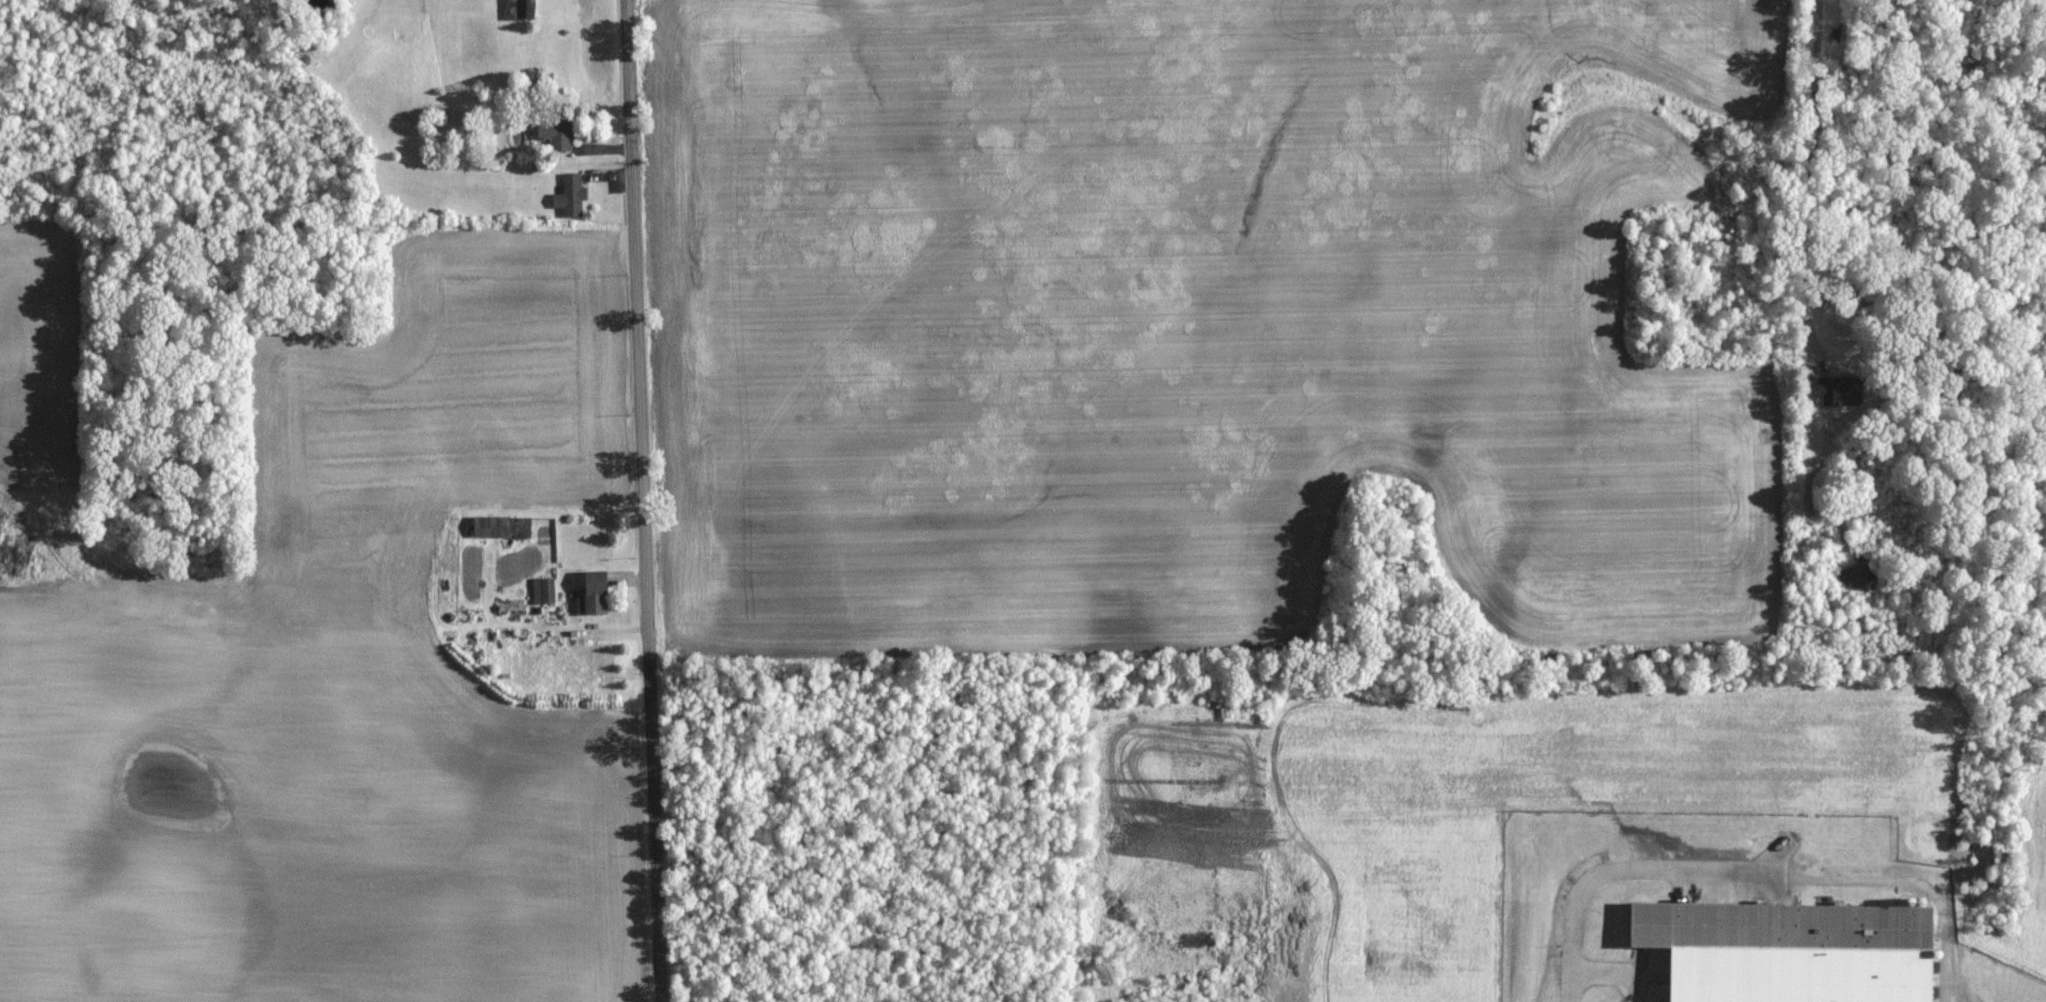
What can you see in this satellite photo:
road: (1812, 31)
building: (554, 135)
building: (570, 195)
road: (644, 501)
building: (590, 591)
road: (1754, 875)
building: (1785, 951)
road: (1614, 973)

